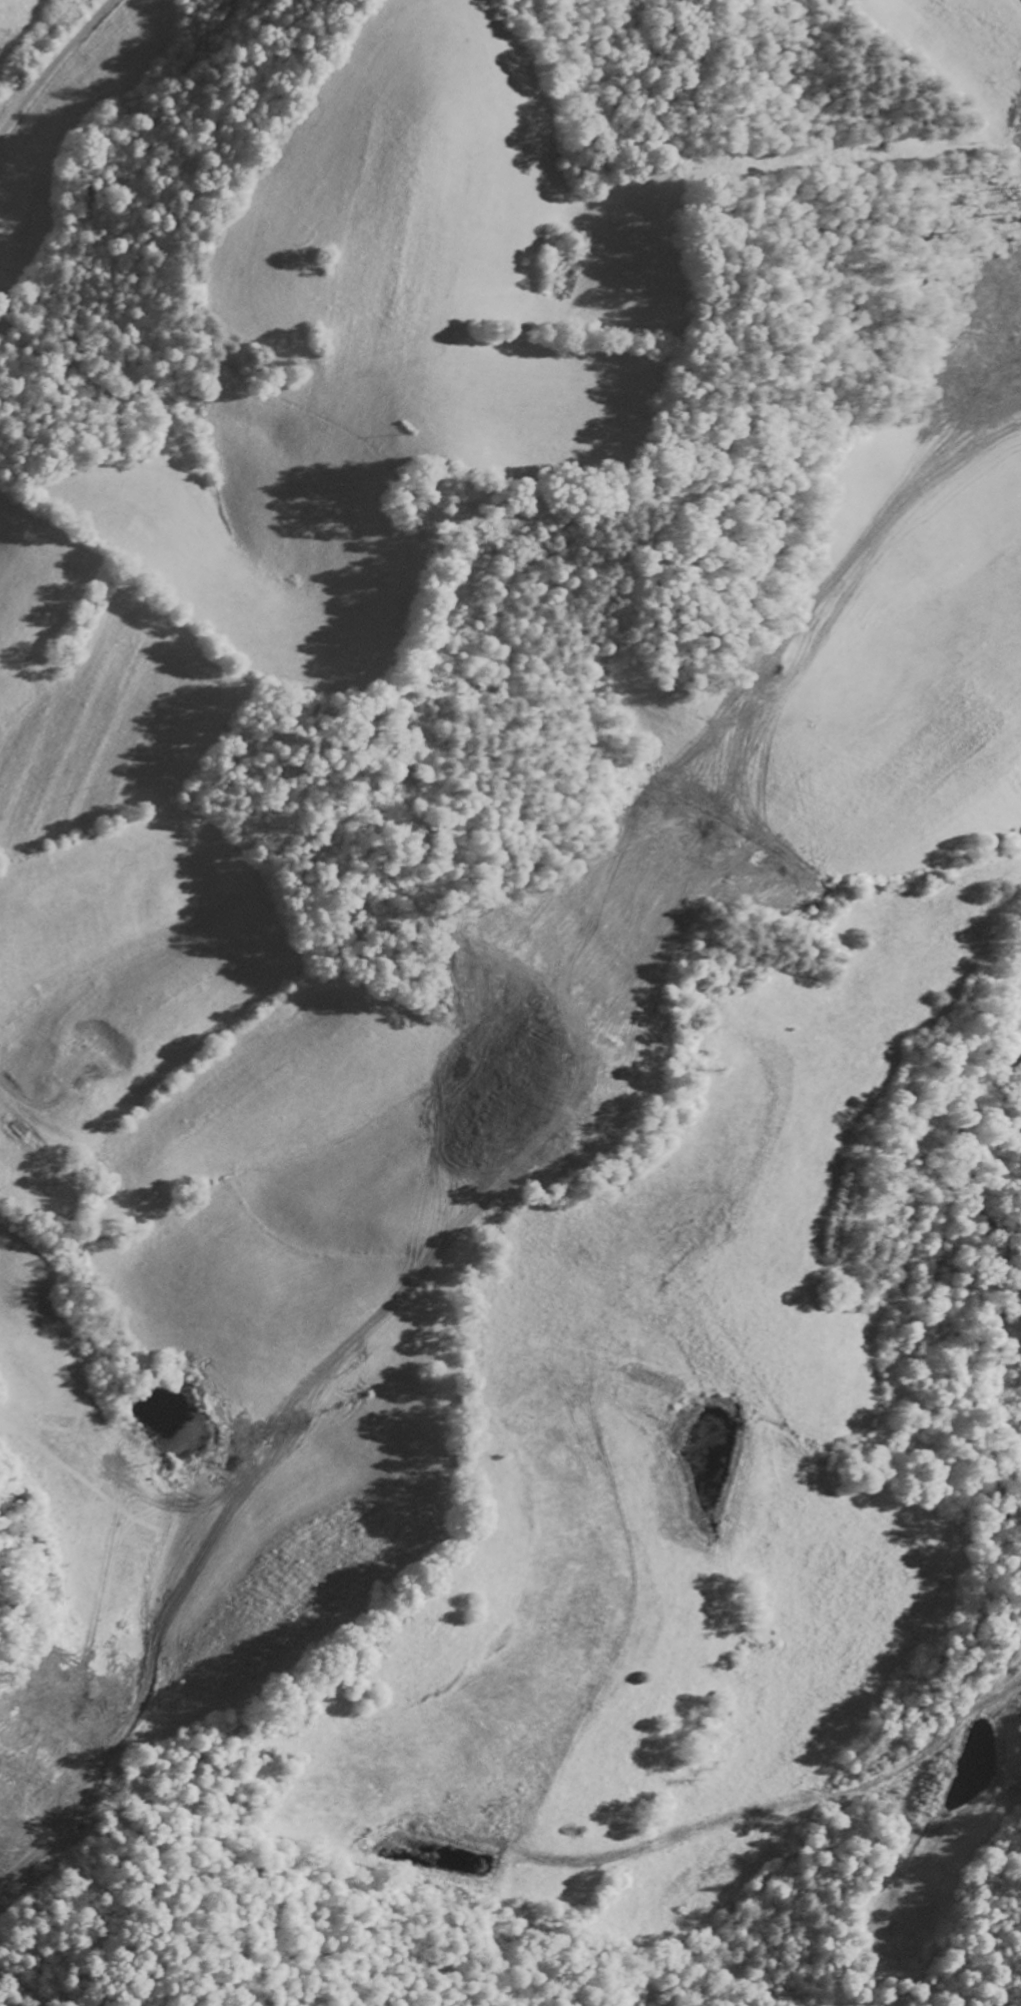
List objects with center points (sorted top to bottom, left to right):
road: (52, 66)
road: (483, 1092)

